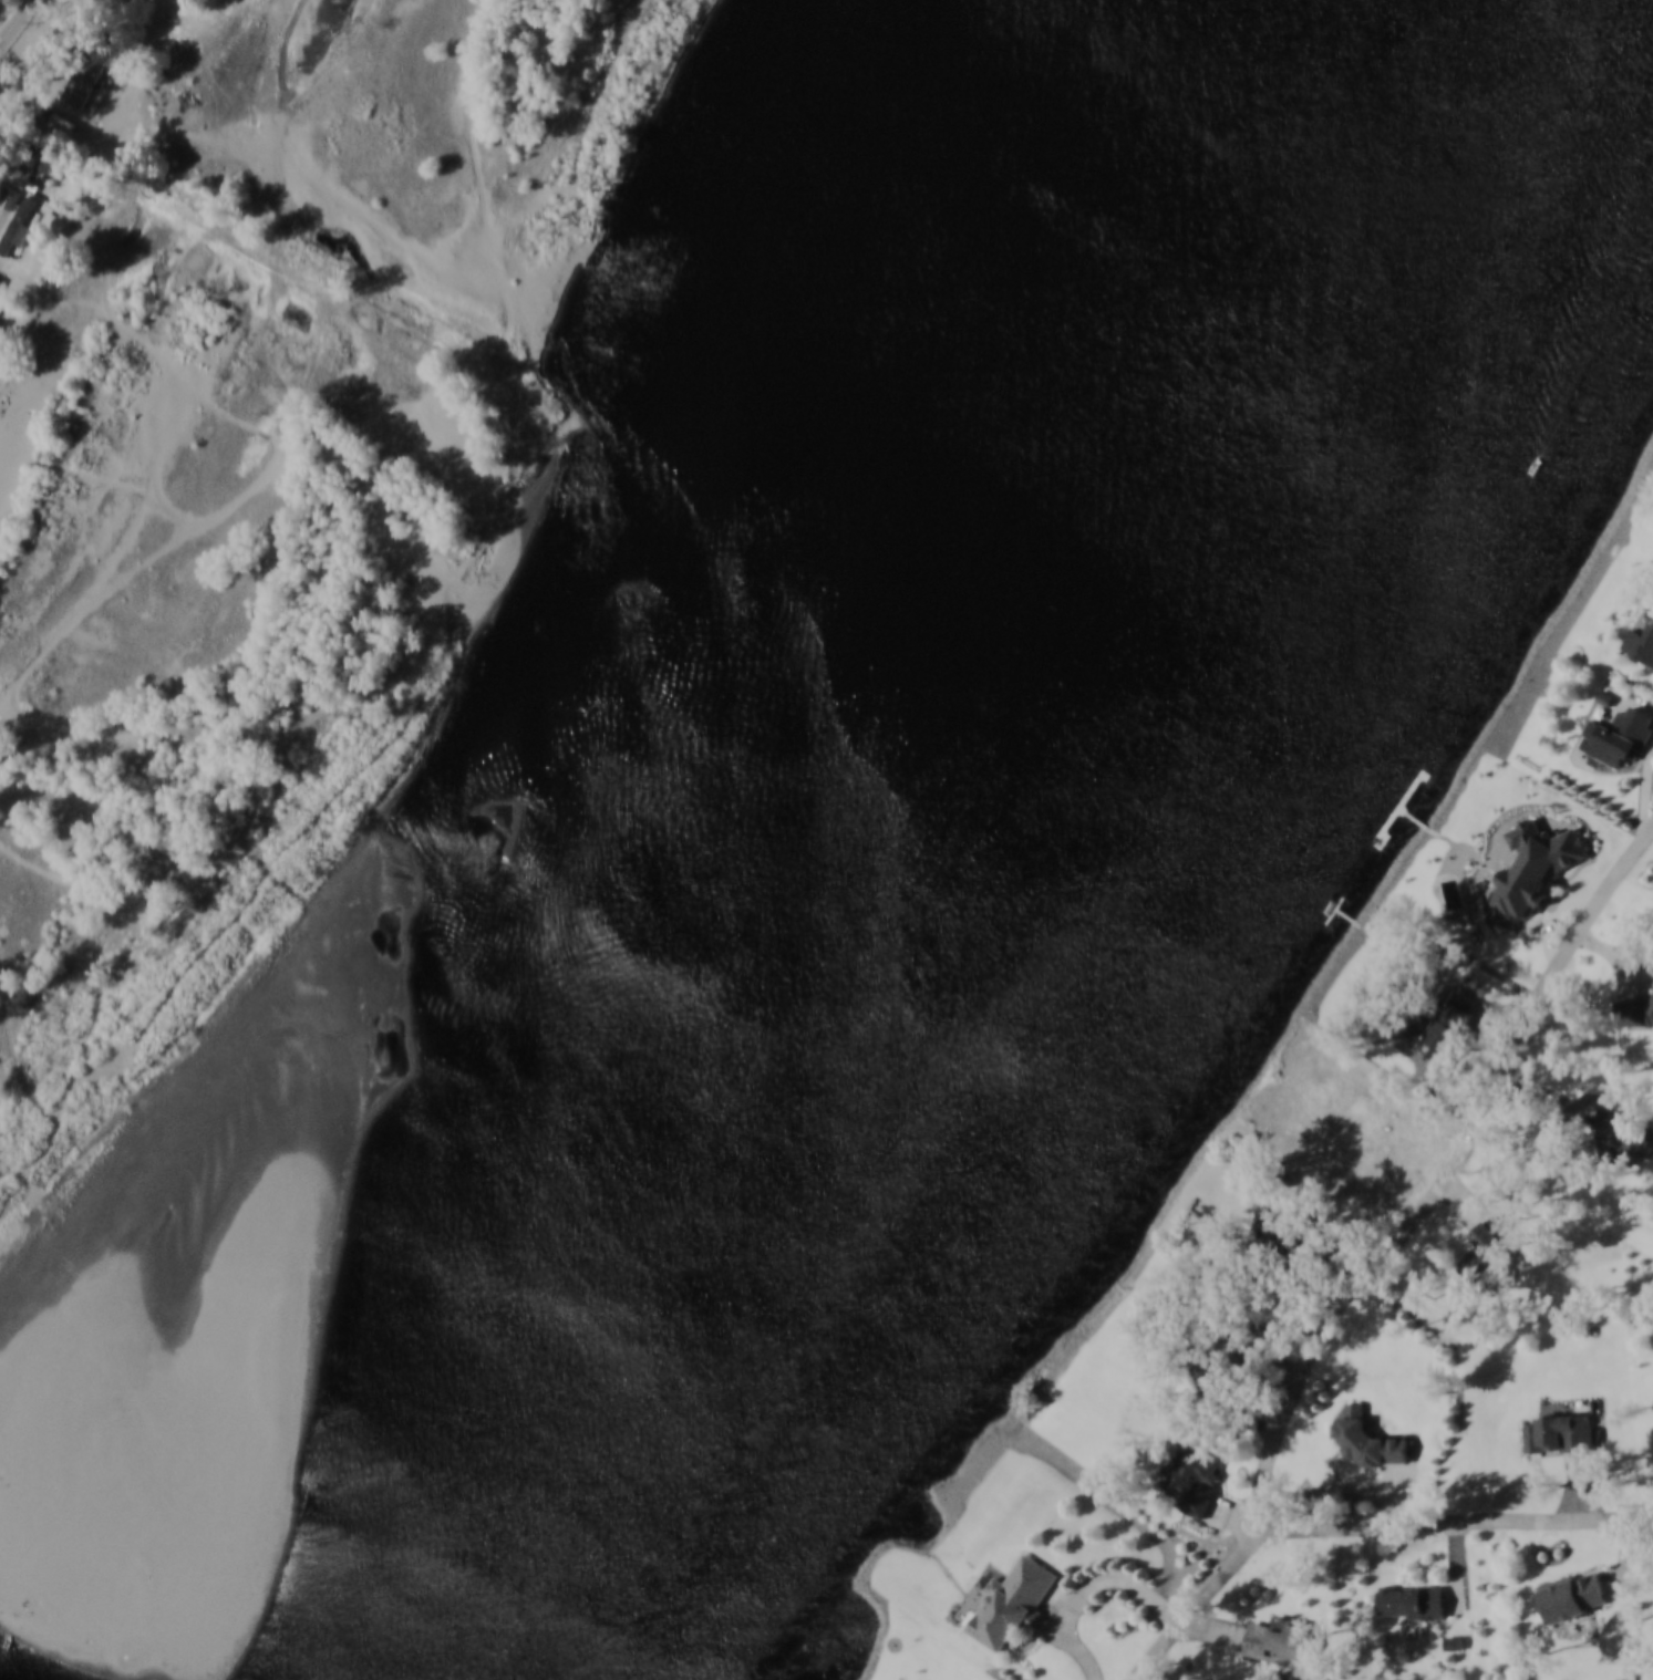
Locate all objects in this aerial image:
building: (84, 79)
building: (19, 226)
building: (1, 281)
building: (1642, 646)
building: (1610, 701)
building: (1624, 740)
road: (1649, 800)
building: (1542, 860)
river: (1118, 863)
road: (1589, 881)
road: (1554, 920)
road: (1647, 955)
road: (1616, 956)
building: (1635, 1008)
building: (1445, 1023)
road: (1491, 1031)
building: (1384, 1080)
road: (1551, 1093)
building: (1626, 1124)
road: (1447, 1181)
road: (1465, 1202)
building: (1291, 1223)
building: (1492, 1248)
road: (1340, 1259)
building: (1242, 1341)
road: (1279, 1358)
building: (1217, 1375)
road: (1259, 1402)
building: (1563, 1431)
building: (1373, 1435)
building: (1198, 1477)
road: (1583, 1483)
road: (1339, 1486)
road: (1396, 1491)
road: (1118, 1501)
road: (1234, 1508)
road: (1357, 1526)
road: (1630, 1559)
road: (1459, 1566)
road: (1092, 1586)
building: (1579, 1594)
road: (1064, 1597)
building: (1019, 1600)
building: (1419, 1600)
road: (1220, 1628)
building: (1284, 1640)
building: (1458, 1640)

